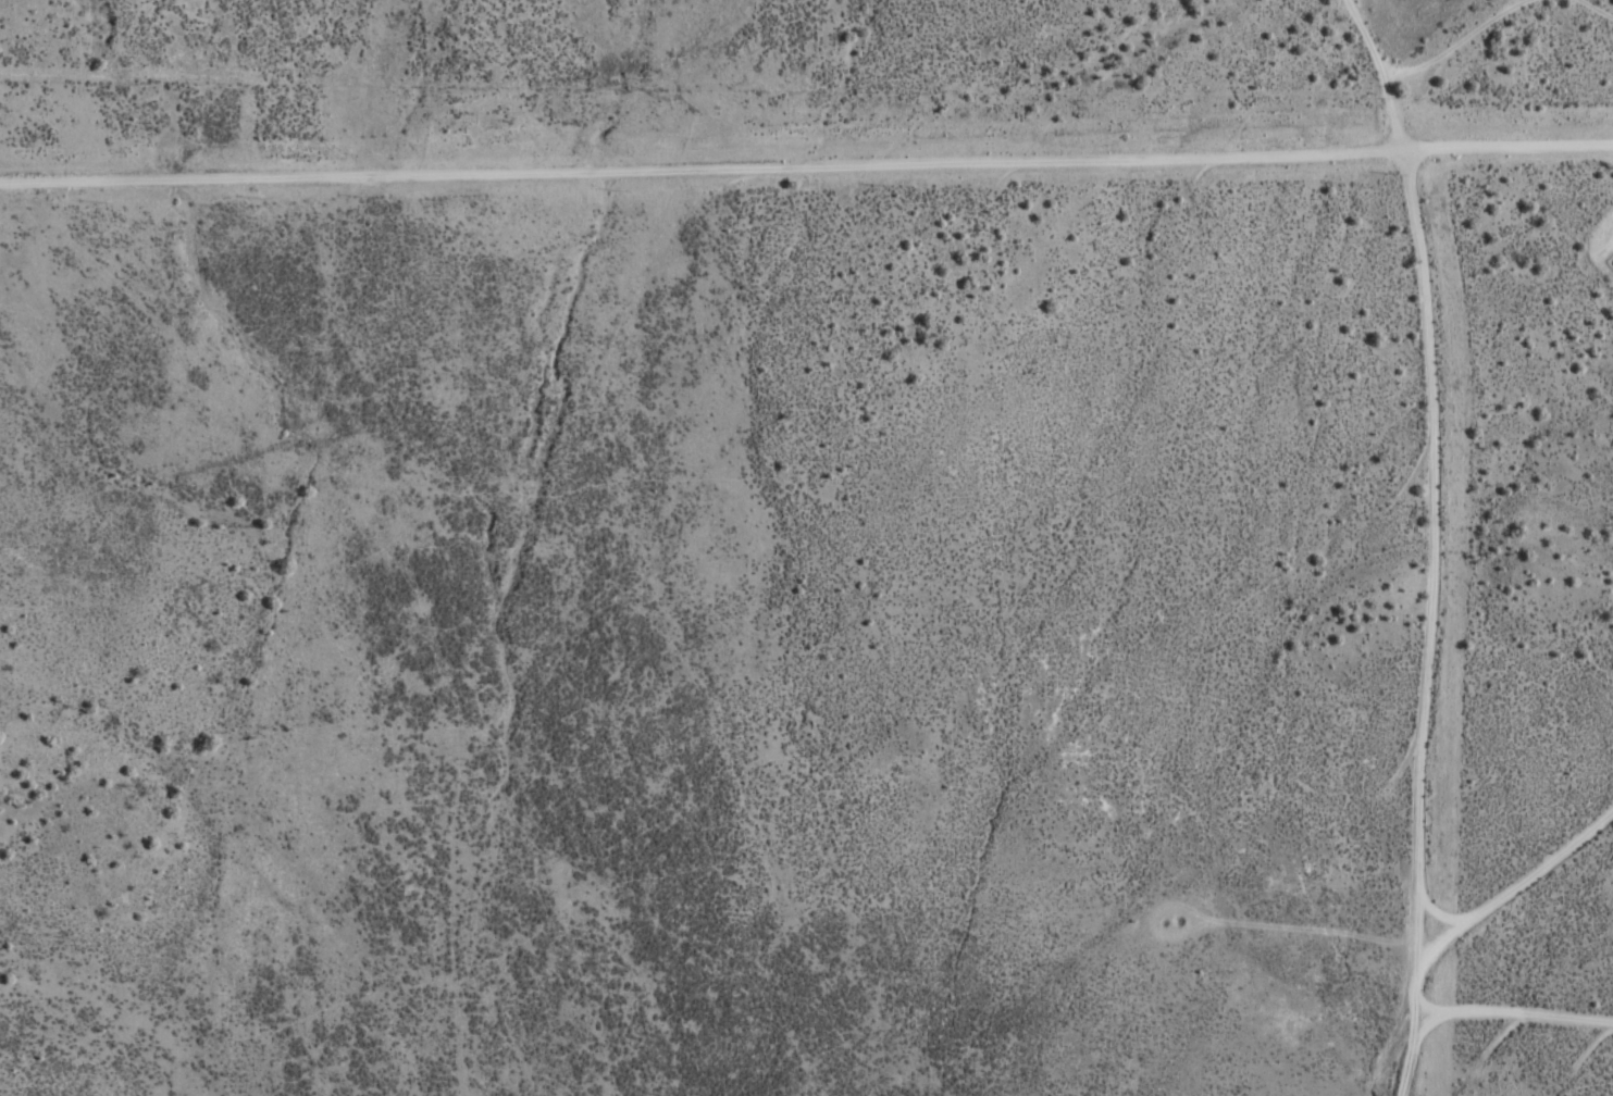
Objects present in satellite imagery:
road: (1442, 541)
road: (1519, 888)

